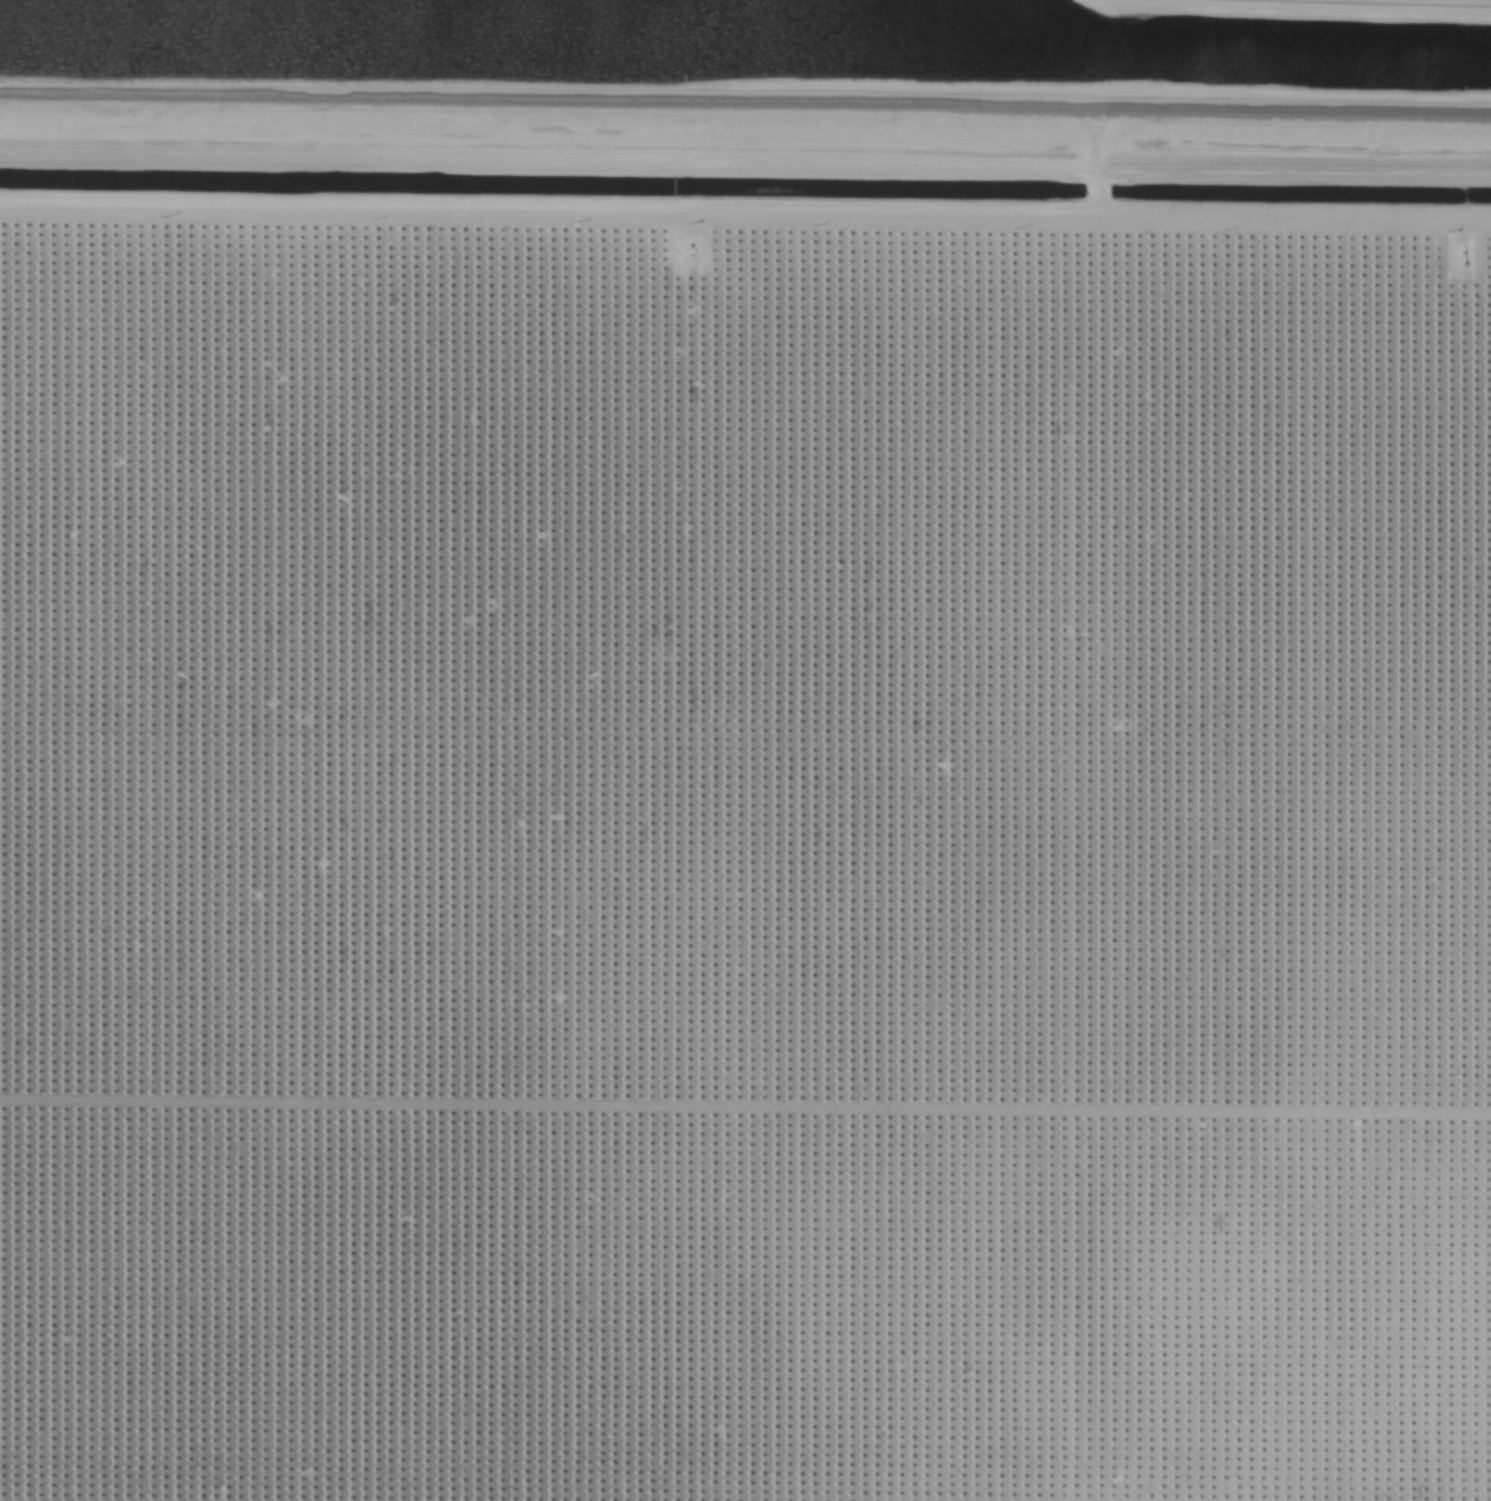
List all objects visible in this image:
road: (745, 101)
road: (745, 213)
crop: (755, 781)

